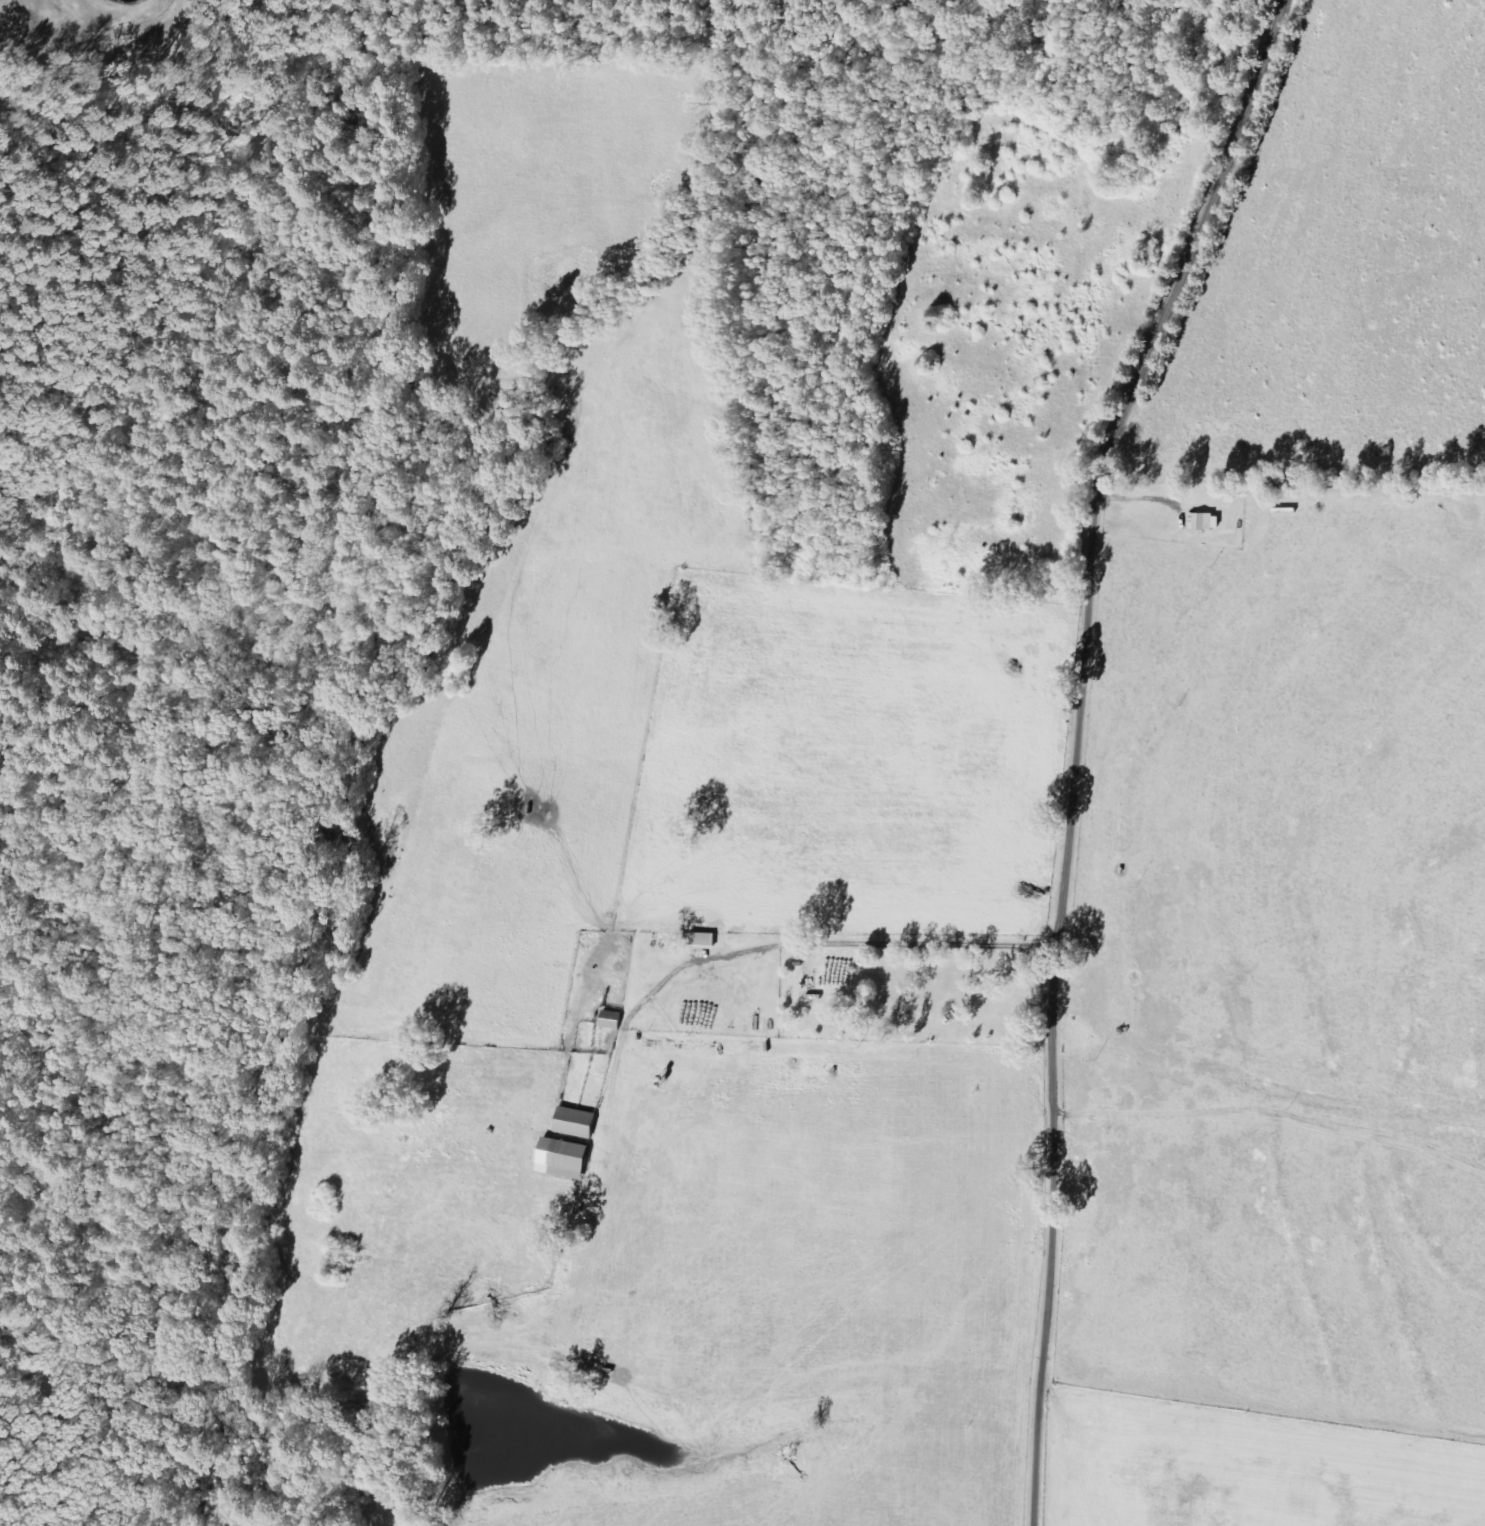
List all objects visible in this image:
road: (1344, 295)
road: (1075, 741)
building: (706, 942)
building: (580, 1124)
building: (567, 1160)

